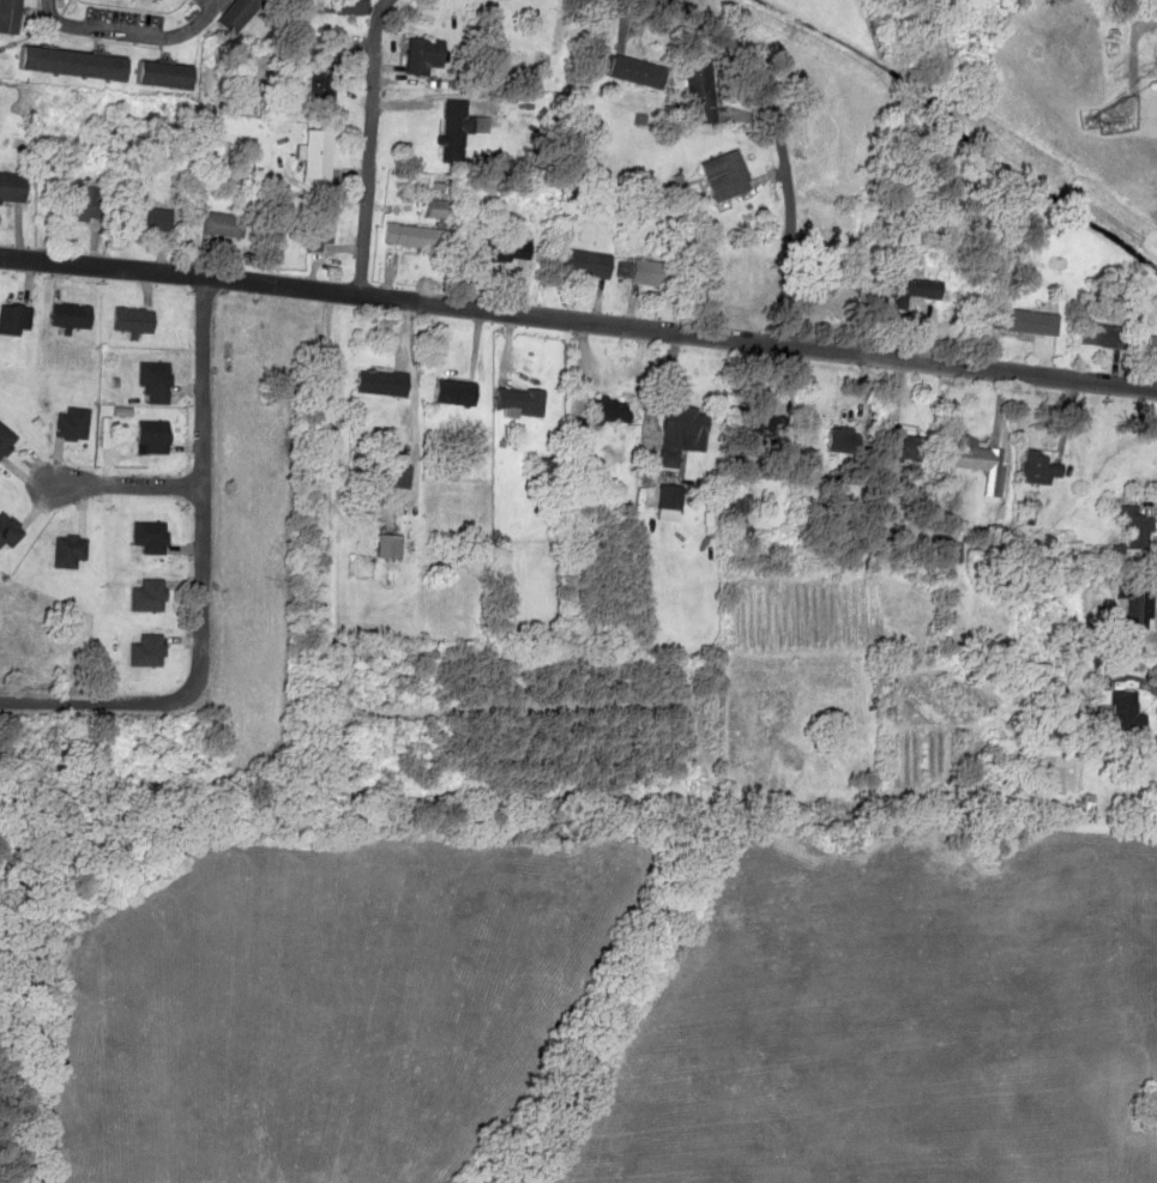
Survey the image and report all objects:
building: (351, 6)
building: (240, 13)
building: (11, 16)
road: (131, 30)
building: (426, 55)
building: (1156, 59)
building: (74, 62)
building: (637, 70)
building: (167, 74)
building: (321, 87)
building: (703, 89)
building: (453, 138)
road: (781, 141)
road: (370, 143)
building: (320, 153)
building: (729, 175)
building: (13, 187)
building: (86, 201)
building: (157, 217)
building: (224, 224)
building: (321, 228)
building: (410, 235)
building: (590, 262)
building: (649, 270)
building: (742, 278)
building: (836, 290)
building: (72, 314)
road: (578, 316)
building: (134, 318)
building: (14, 320)
building: (1030, 321)
building: (1101, 334)
building: (1152, 345)
building: (155, 381)
building: (382, 382)
building: (454, 392)
building: (520, 400)
building: (608, 409)
building: (72, 423)
building: (682, 433)
building: (153, 435)
building: (6, 439)
building: (915, 447)
building: (981, 459)
building: (394, 467)
building: (1043, 467)
road: (125, 482)
building: (8, 530)
building: (1139, 530)
building: (151, 536)
building: (390, 544)
building: (70, 550)
road: (199, 578)
building: (149, 594)
building: (1138, 603)
building: (147, 651)
building: (1126, 712)

